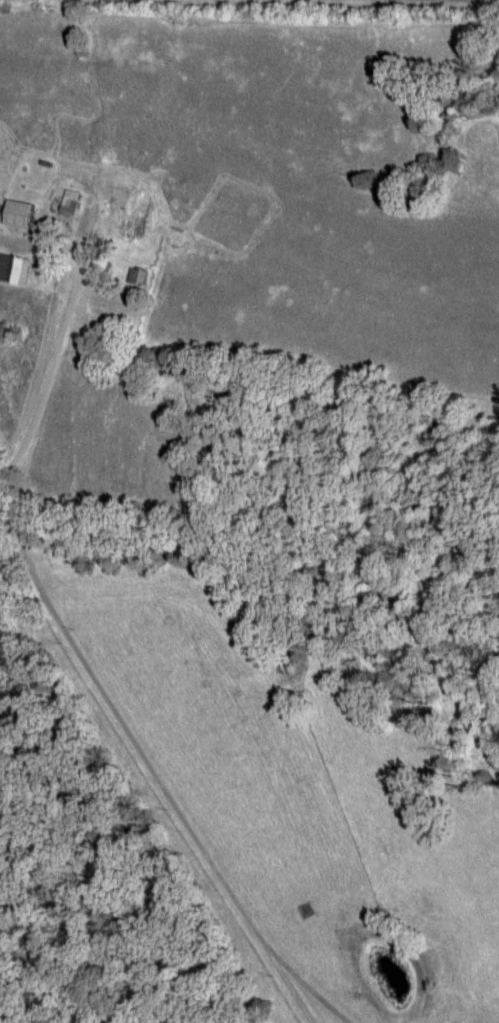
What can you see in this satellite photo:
building: (69, 204)
building: (17, 216)
building: (125, 226)
building: (13, 272)
road: (128, 746)
road: (265, 954)

